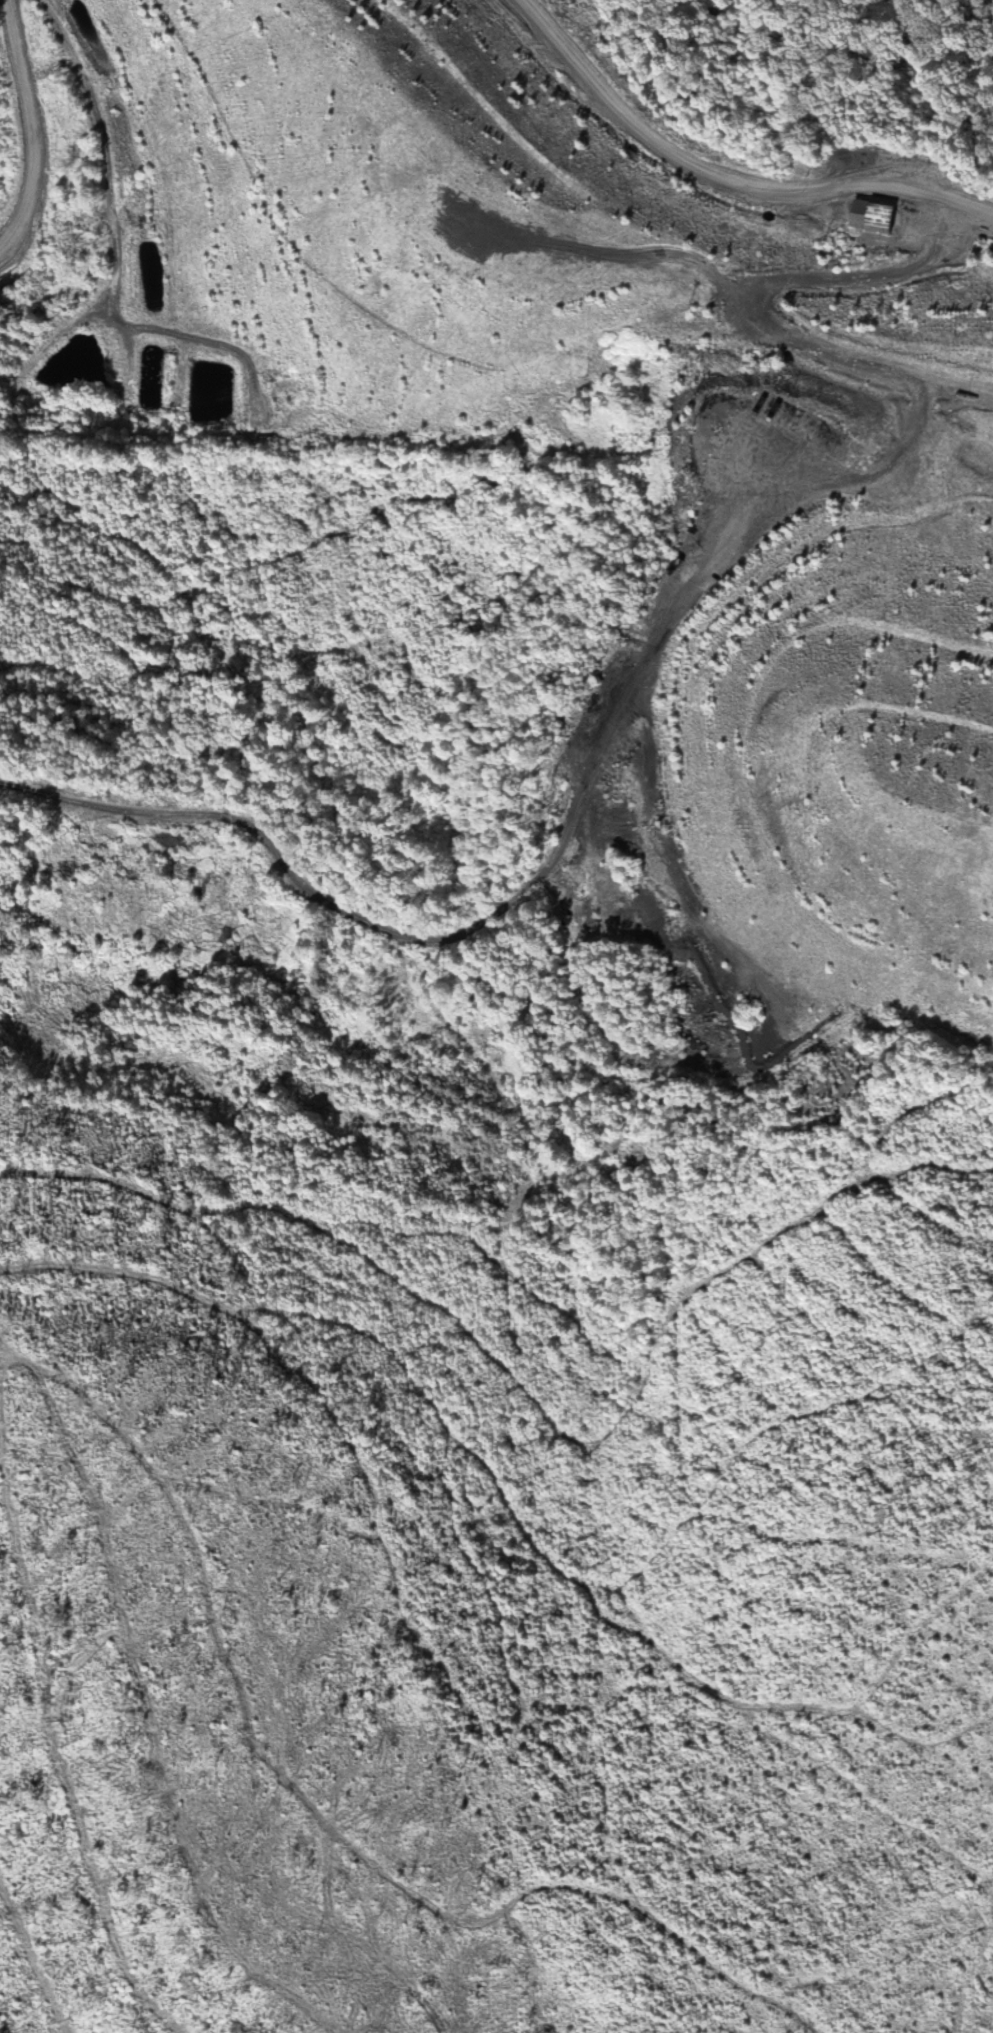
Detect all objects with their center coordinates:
road: (85, 208)
building: (871, 215)
road: (646, 224)
road: (700, 316)
road: (55, 392)
building: (919, 625)
road: (579, 853)

